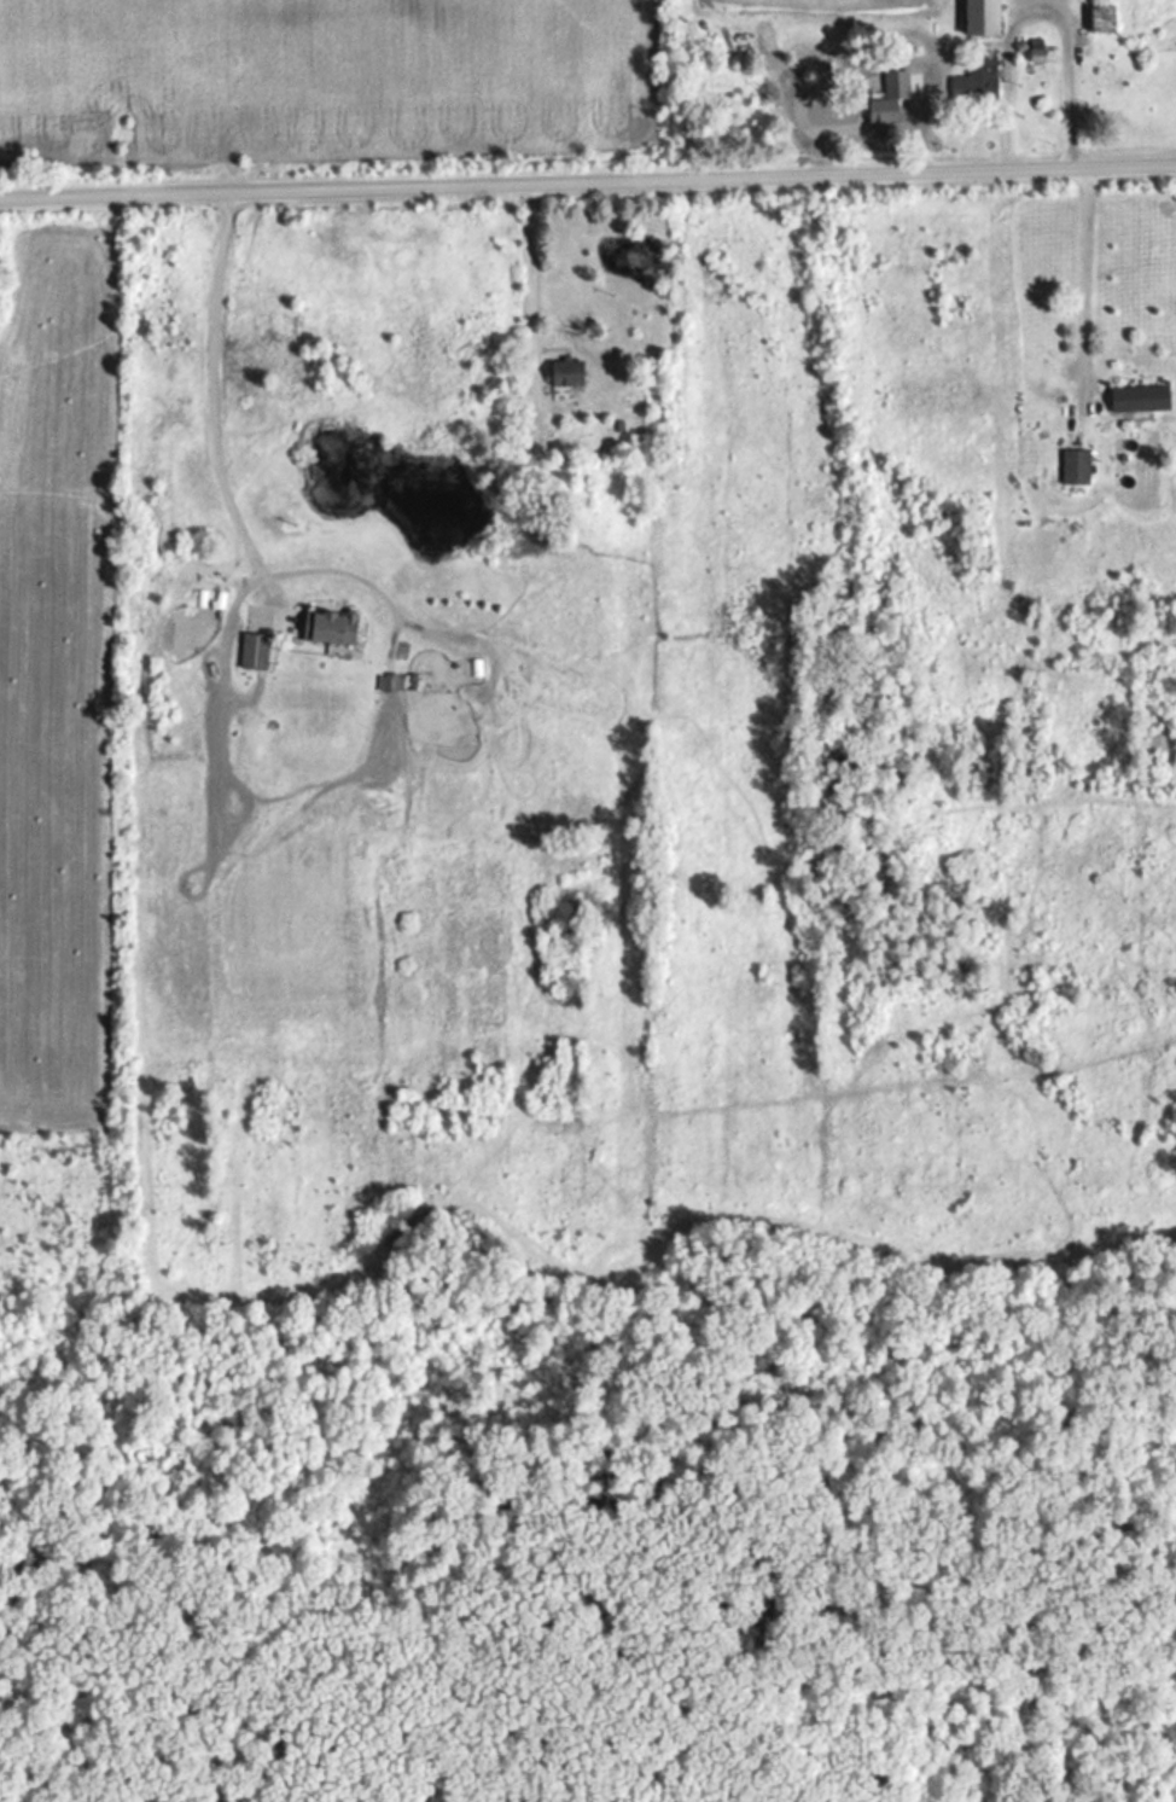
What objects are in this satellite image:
road: (1027, 0)
building: (1100, 1)
building: (988, 18)
building: (1105, 19)
building: (980, 82)
building: (1112, 87)
building: (890, 112)
road: (588, 184)
road: (1075, 281)
road: (538, 295)
building: (572, 374)
road: (221, 394)
building: (1143, 400)
building: (1078, 469)
building: (336, 628)
building: (258, 653)

